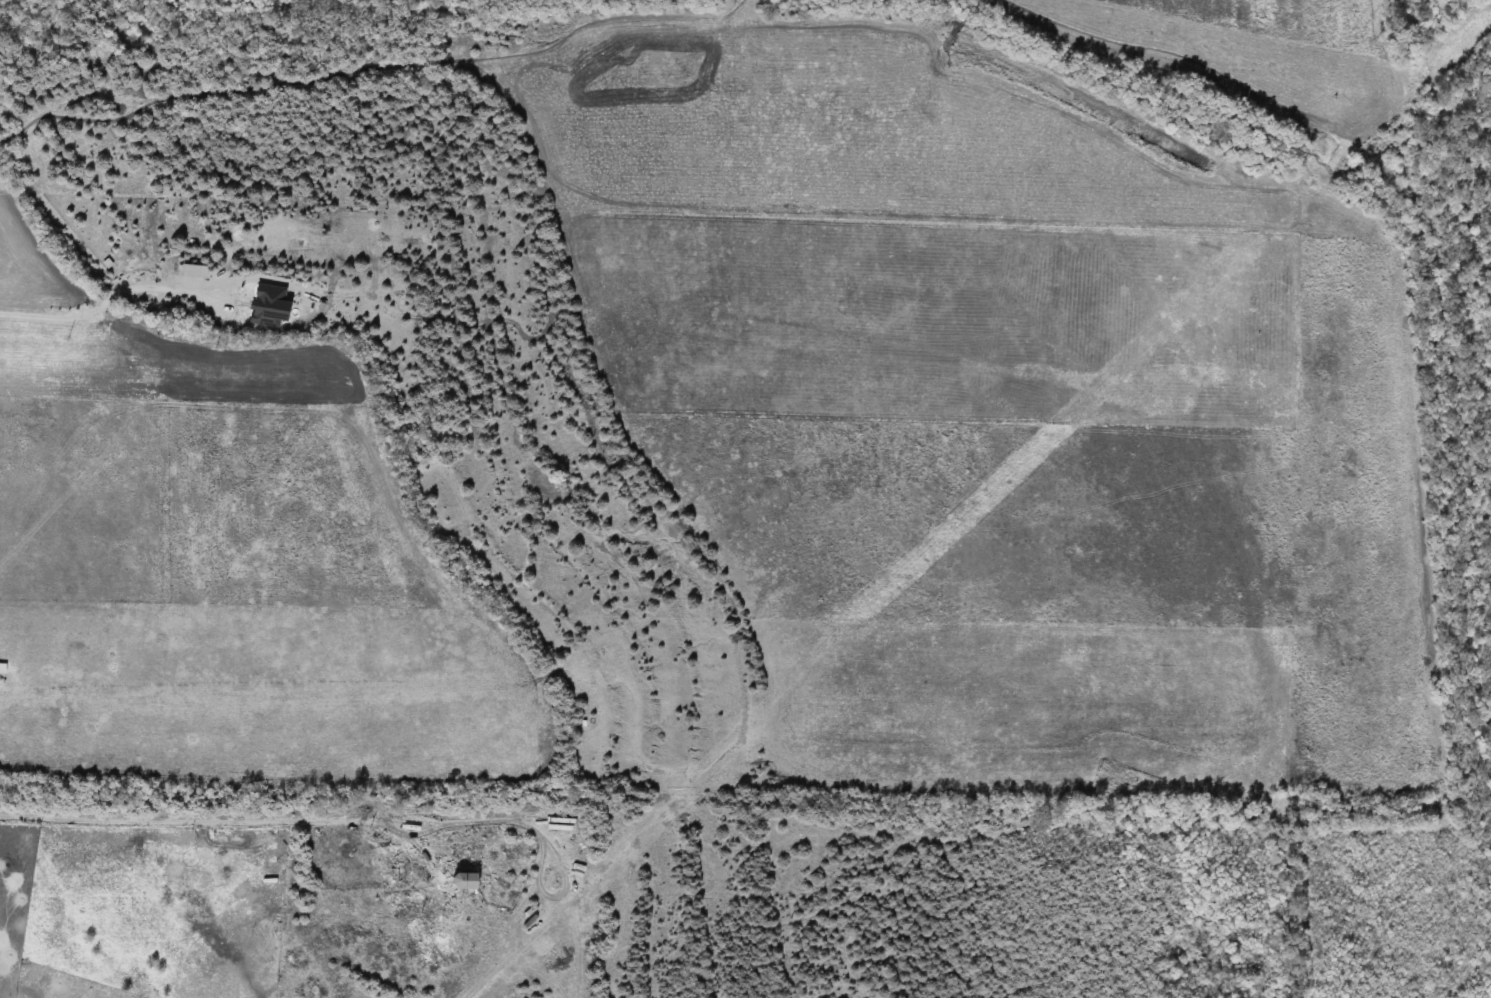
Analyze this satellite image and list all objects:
road: (117, 276)

